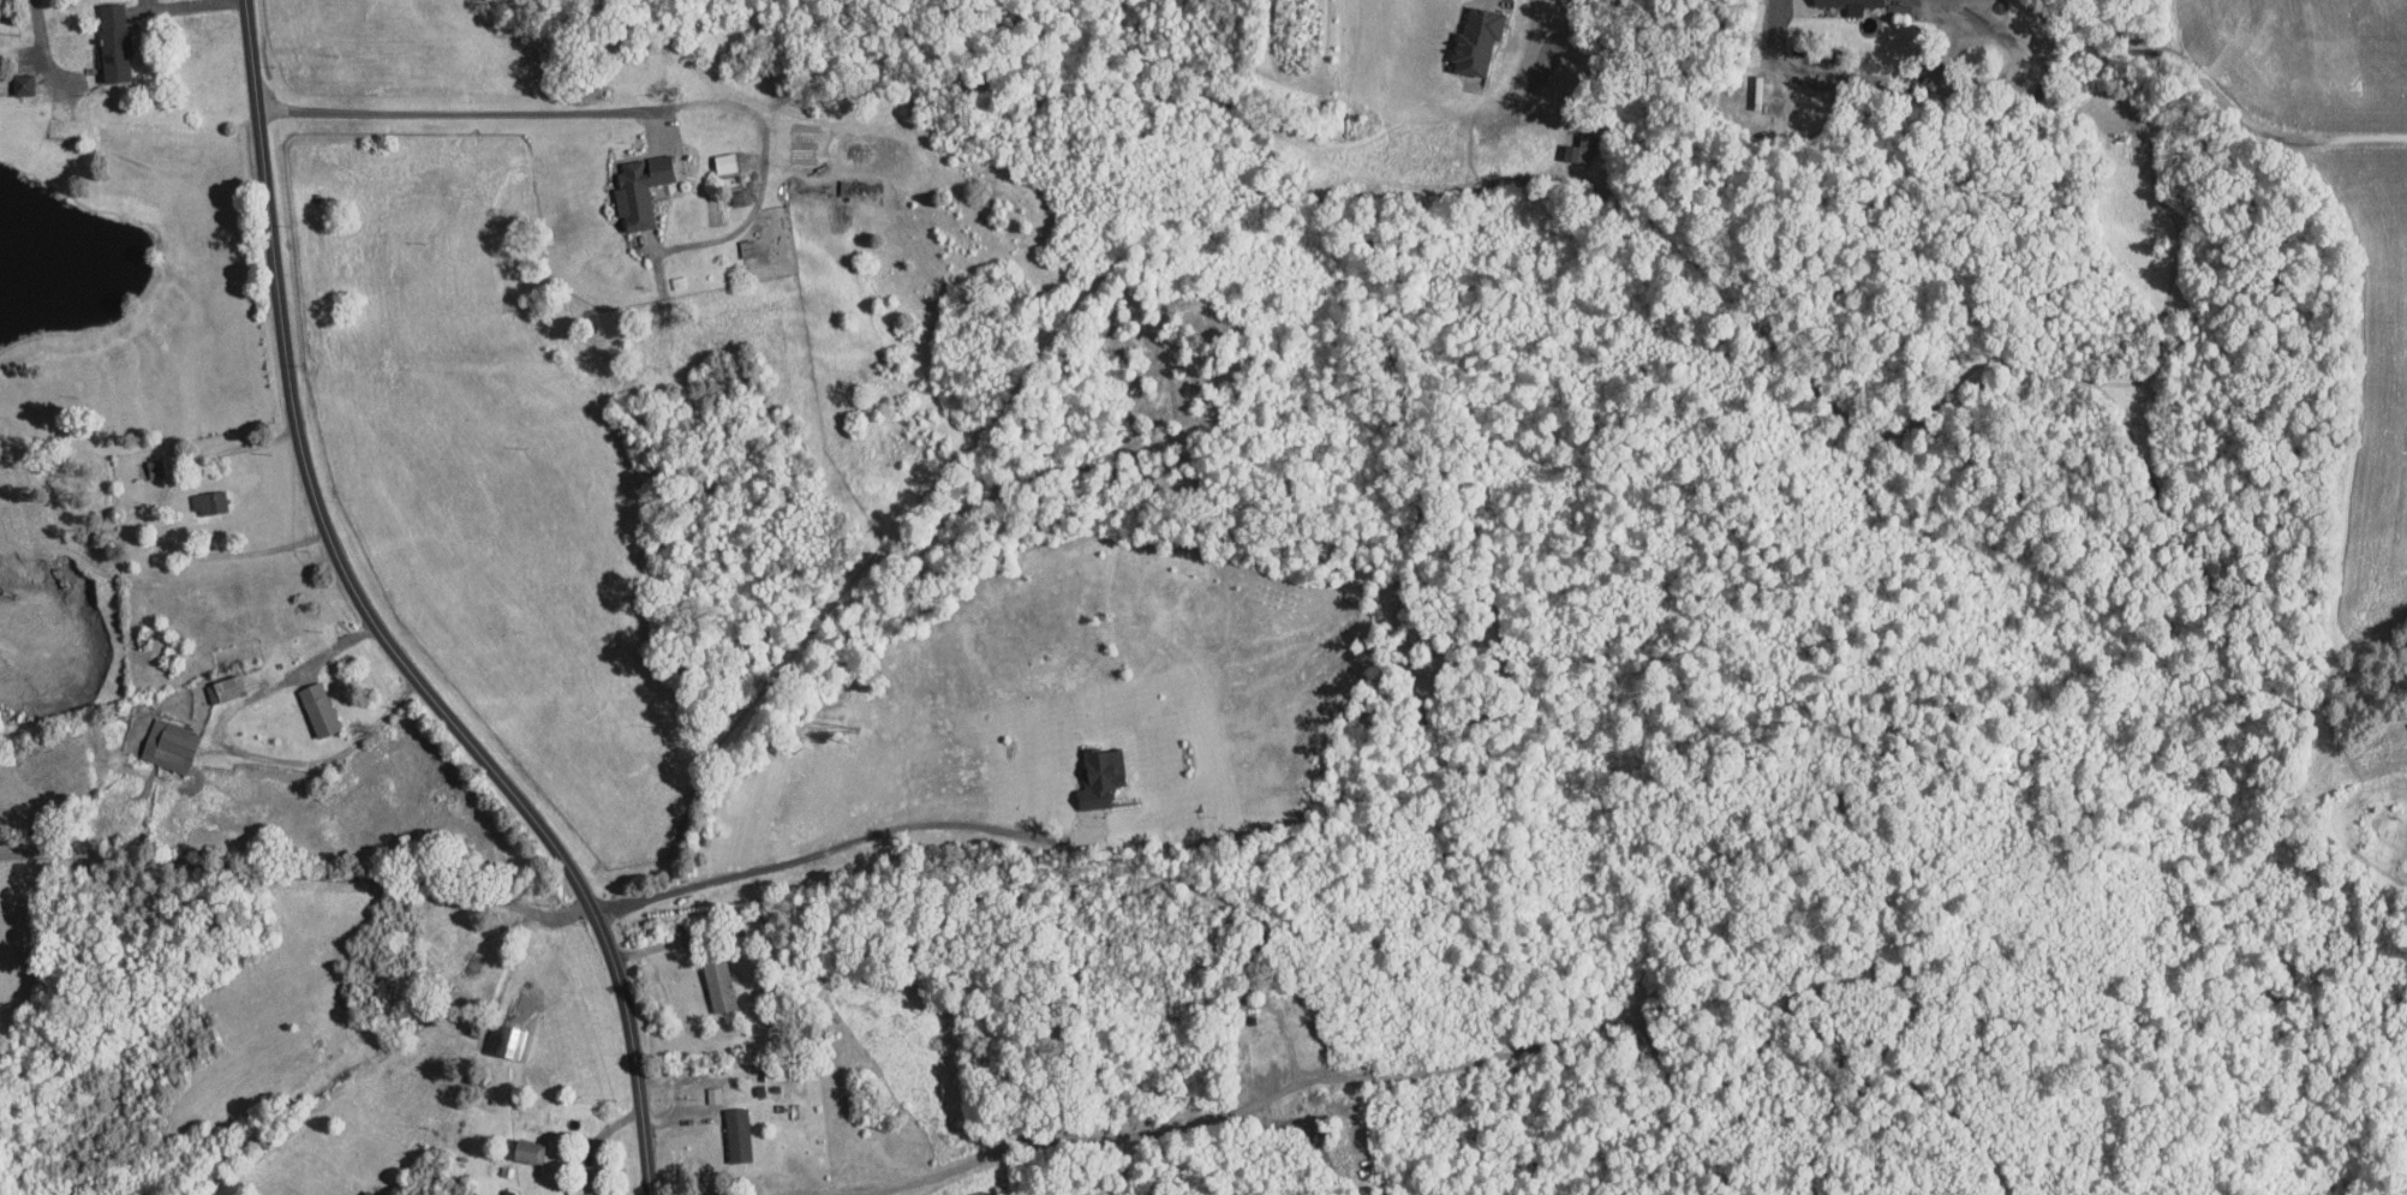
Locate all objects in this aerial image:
road: (1794, 1)
road: (187, 4)
building: (1848, 4)
building: (1476, 40)
building: (113, 41)
road: (44, 54)
building: (22, 83)
building: (2, 84)
road: (473, 112)
building: (724, 162)
road: (764, 162)
building: (639, 187)
building: (208, 501)
road: (166, 520)
road: (378, 627)
building: (228, 687)
building: (317, 709)
building: (172, 747)
road: (235, 747)
building: (1099, 776)
road: (844, 843)
road: (299, 878)
road: (670, 943)
building: (718, 984)
building: (509, 1041)
building: (713, 1094)
building: (737, 1134)
road: (596, 1141)
building: (527, 1151)

